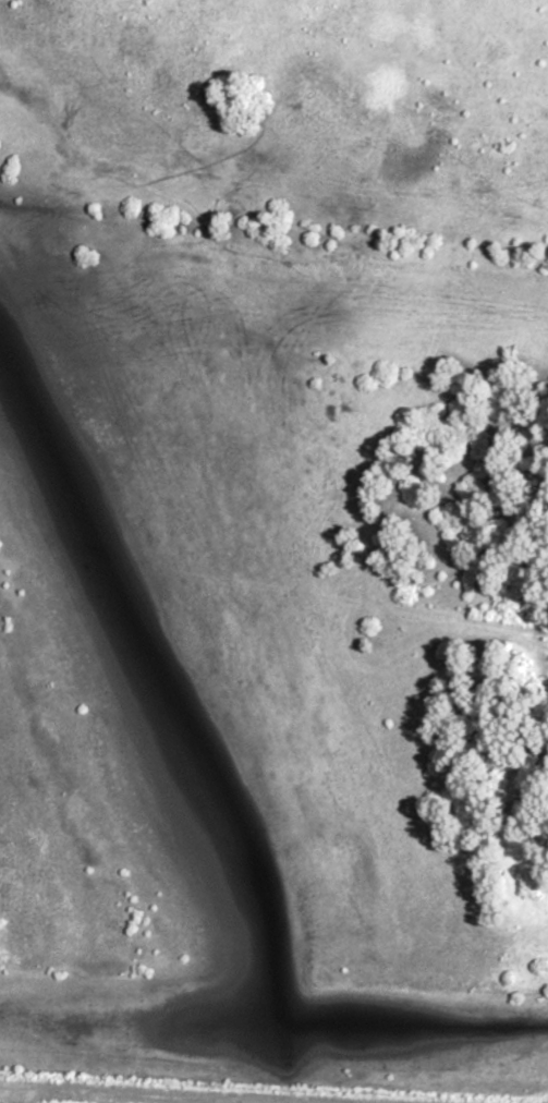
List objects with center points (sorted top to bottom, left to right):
road: (165, 1093)

